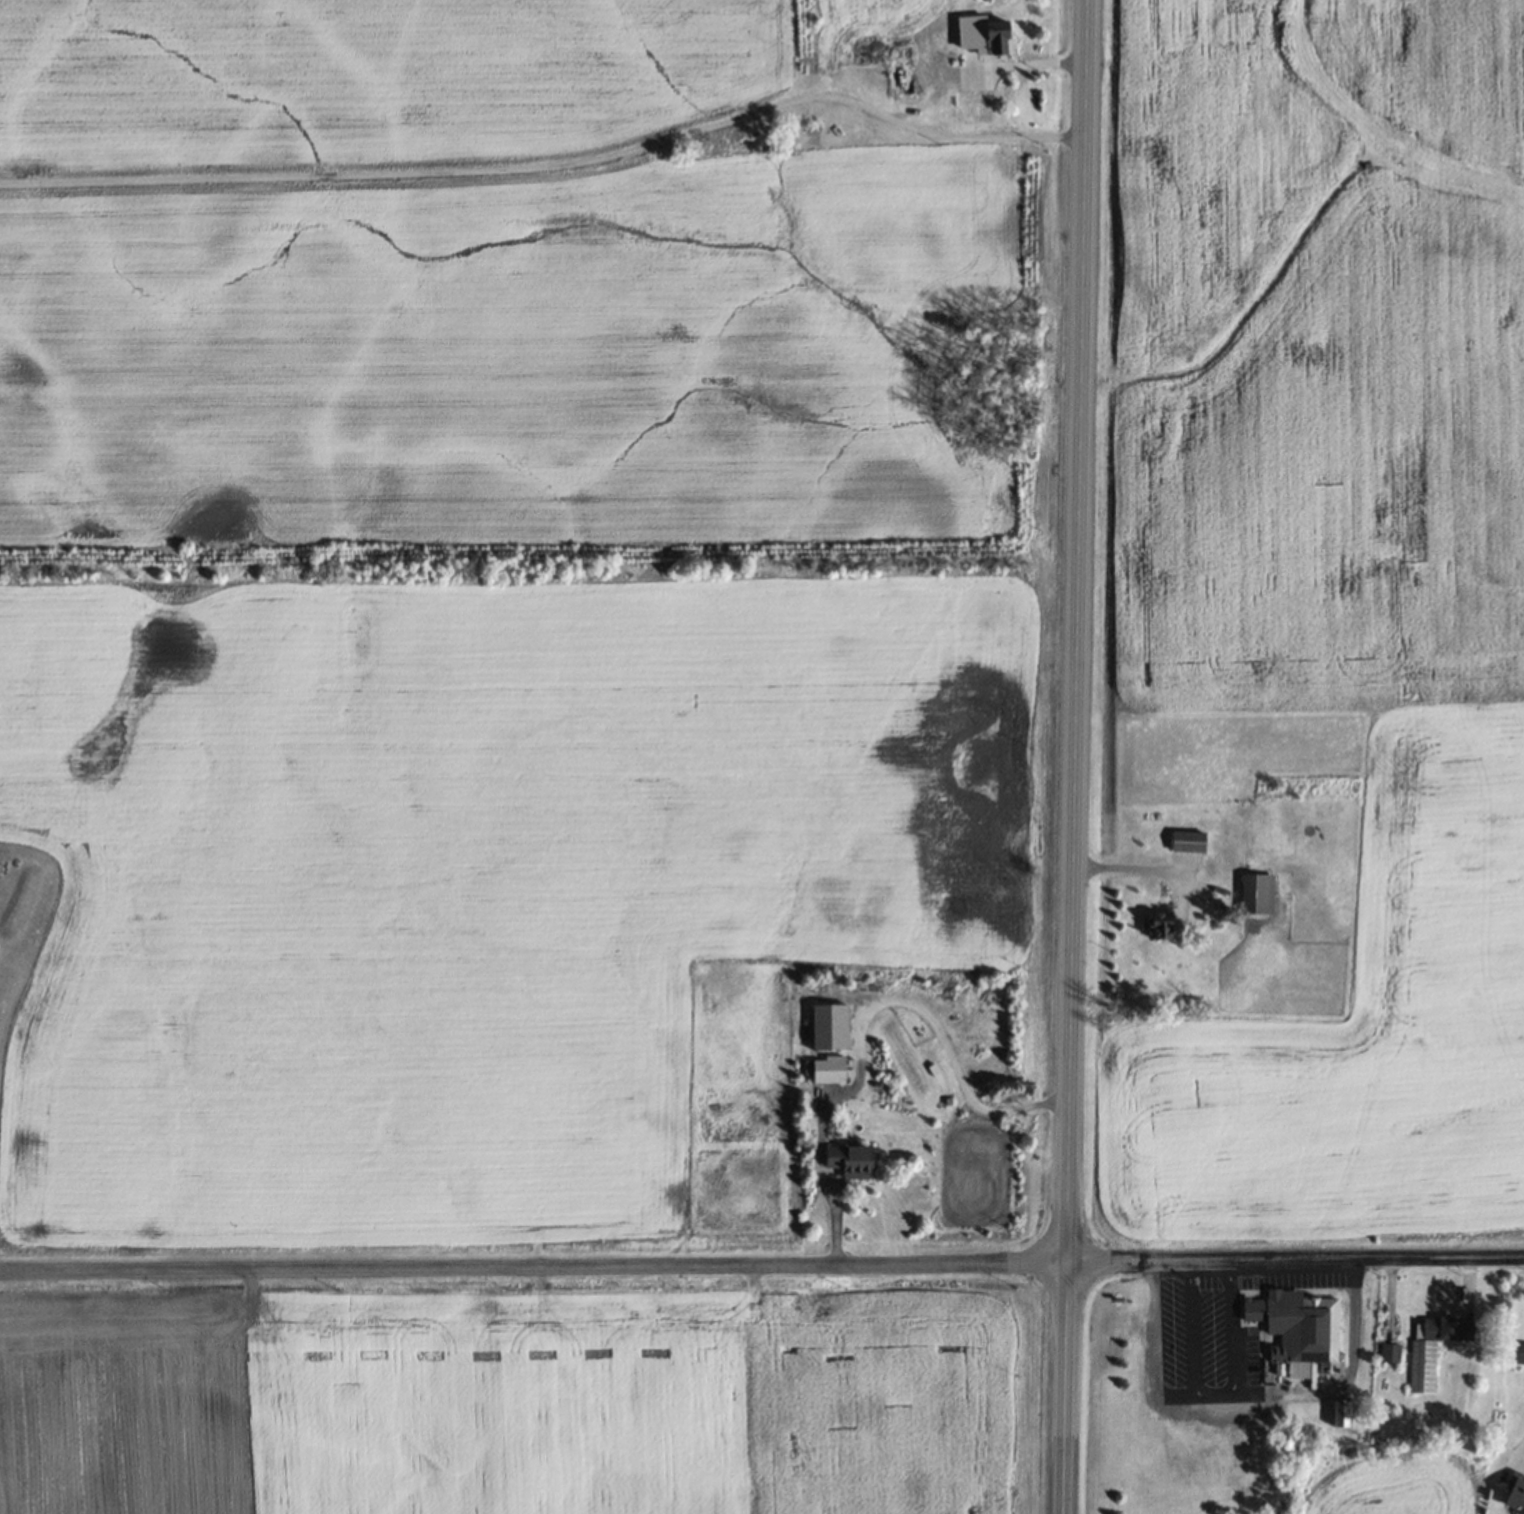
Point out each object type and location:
building: (985, 35)
road: (1032, 64)
building: (904, 70)
road: (550, 164)
road: (1072, 756)
building: (1188, 836)
road: (1132, 877)
building: (1258, 893)
building: (1164, 925)
road: (864, 1012)
building: (831, 1026)
building: (830, 1070)
building: (852, 1161)
road: (761, 1262)
building: (1298, 1330)
road: (1151, 1346)
building: (1431, 1349)
building: (1390, 1352)
building: (1518, 1352)
road: (1344, 1376)
crop: (527, 1393)
road: (1212, 1394)
building: (1340, 1413)
road: (1523, 1464)
building: (1516, 1492)

